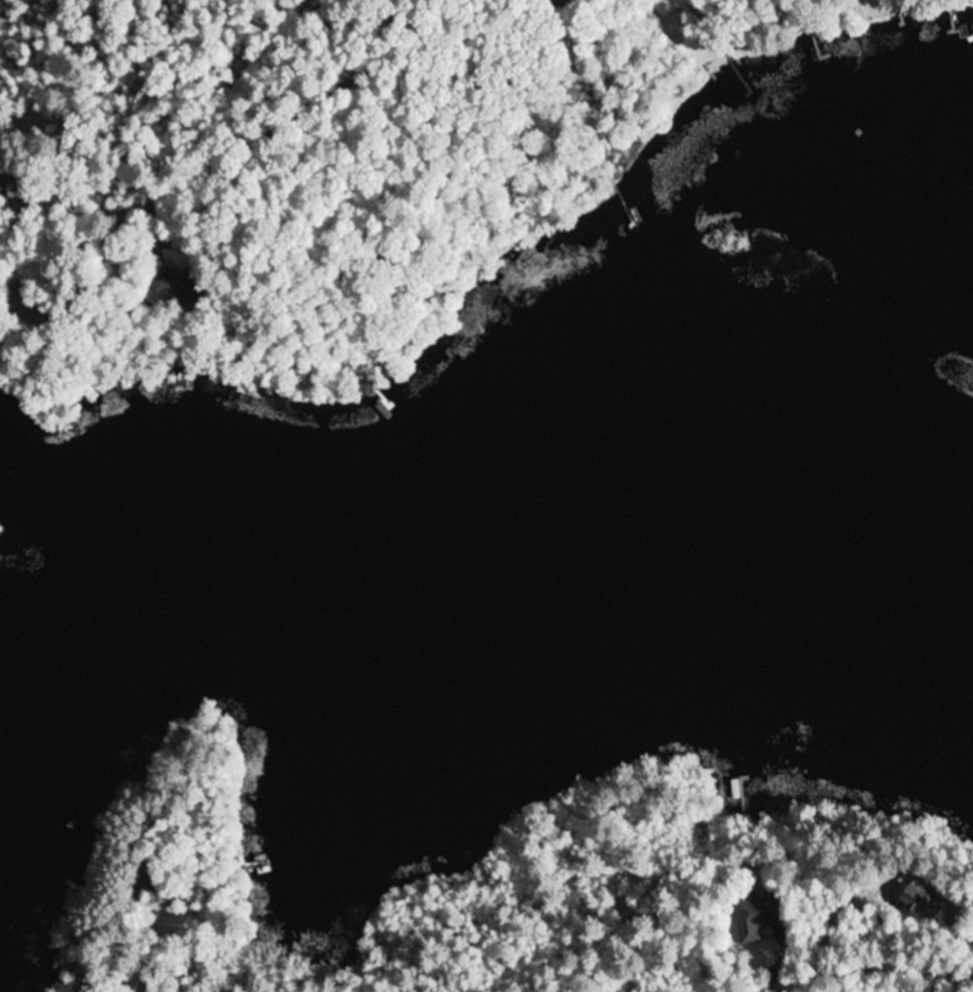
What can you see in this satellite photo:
road: (285, 120)
building: (16, 185)
building: (175, 289)
building: (20, 300)
building: (921, 900)
building: (757, 917)
road: (872, 963)
road: (147, 964)

